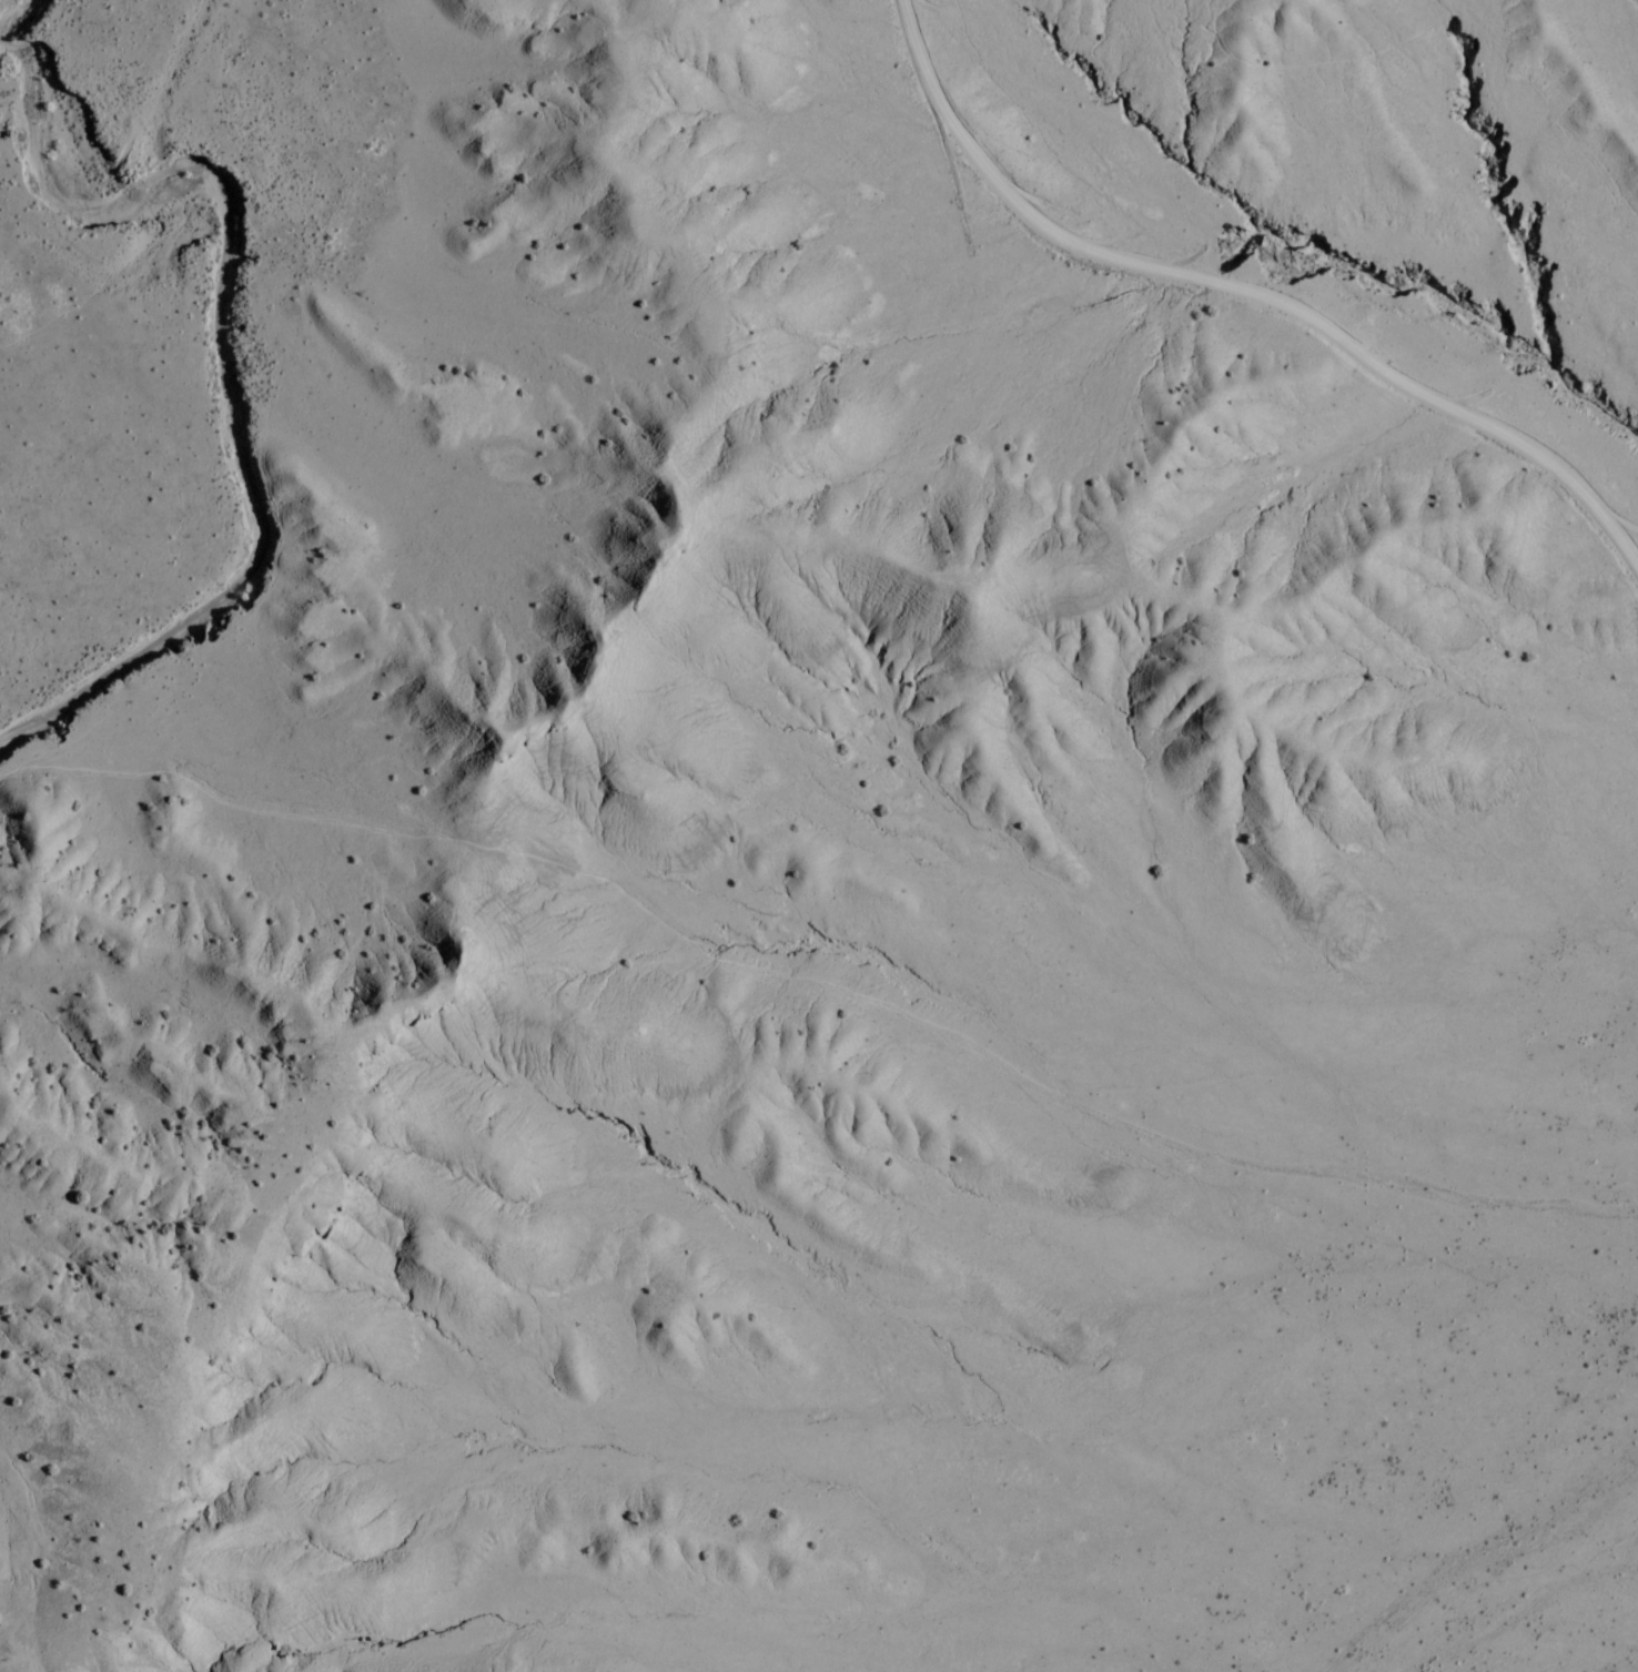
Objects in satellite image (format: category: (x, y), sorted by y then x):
road: (1251, 292)

